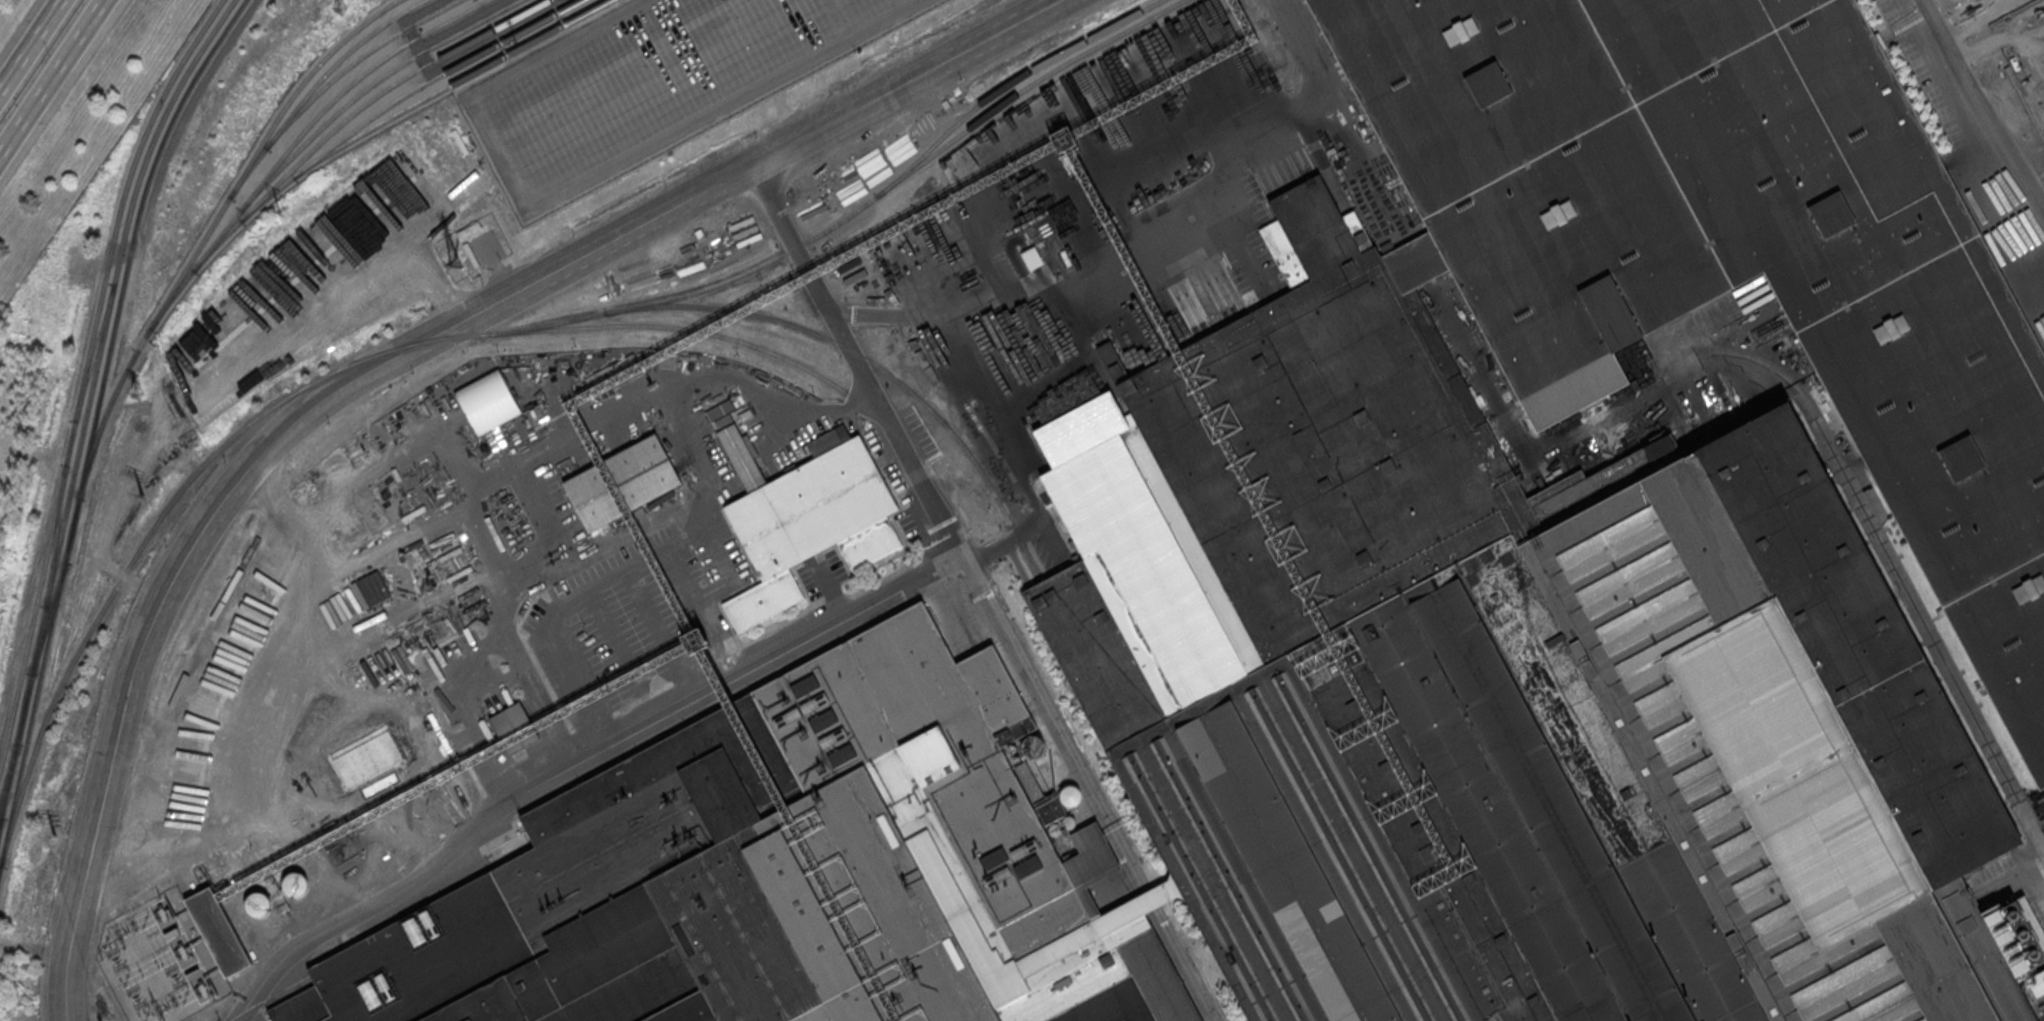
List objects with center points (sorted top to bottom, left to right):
power tower: (340, 9)
road: (424, 11)
road: (1980, 19)
road: (839, 20)
road: (464, 24)
building: (435, 25)
railway: (213, 32)
railway: (224, 35)
road: (32, 47)
road: (473, 49)
railway: (355, 62)
parking lot: (1931, 71)
road: (49, 72)
parking lot: (651, 83)
railway: (1010, 83)
railway: (315, 85)
railway: (450, 86)
railway: (369, 88)
railway: (293, 95)
railway: (403, 97)
road: (1981, 106)
railway: (355, 112)
railway: (297, 138)
road: (1283, 166)
road: (1233, 167)
road: (1367, 179)
road: (578, 183)
building: (469, 230)
road: (1206, 274)
road: (2027, 279)
street lamp: (484, 283)
road: (352, 289)
railway: (493, 333)
railway: (94, 353)
railway: (136, 354)
road: (386, 363)
railway: (873, 363)
railway: (84, 375)
power tower: (137, 394)
building: (487, 400)
road: (1805, 402)
building: (720, 409)
building: (723, 421)
railway: (83, 429)
road: (693, 441)
road: (543, 451)
building: (740, 457)
railway: (85, 462)
road: (494, 480)
building: (621, 483)
building: (810, 507)
railway: (966, 530)
road: (396, 534)
building: (869, 543)
road: (1004, 544)
building: (1576, 552)
road: (645, 558)
road: (980, 593)
building: (762, 599)
parking lot: (639, 617)
road: (660, 633)
road: (616, 638)
road: (334, 657)
road: (475, 672)
road: (420, 674)
building: (514, 726)
road: (577, 762)
railway: (8, 785)
railway: (0, 820)
building: (1089, 862)
building: (773, 873)
building: (295, 885)
building: (257, 905)
building: (1133, 912)
building: (218, 931)
power substation: (154, 960)
building: (1157, 977)
railway: (270, 998)

